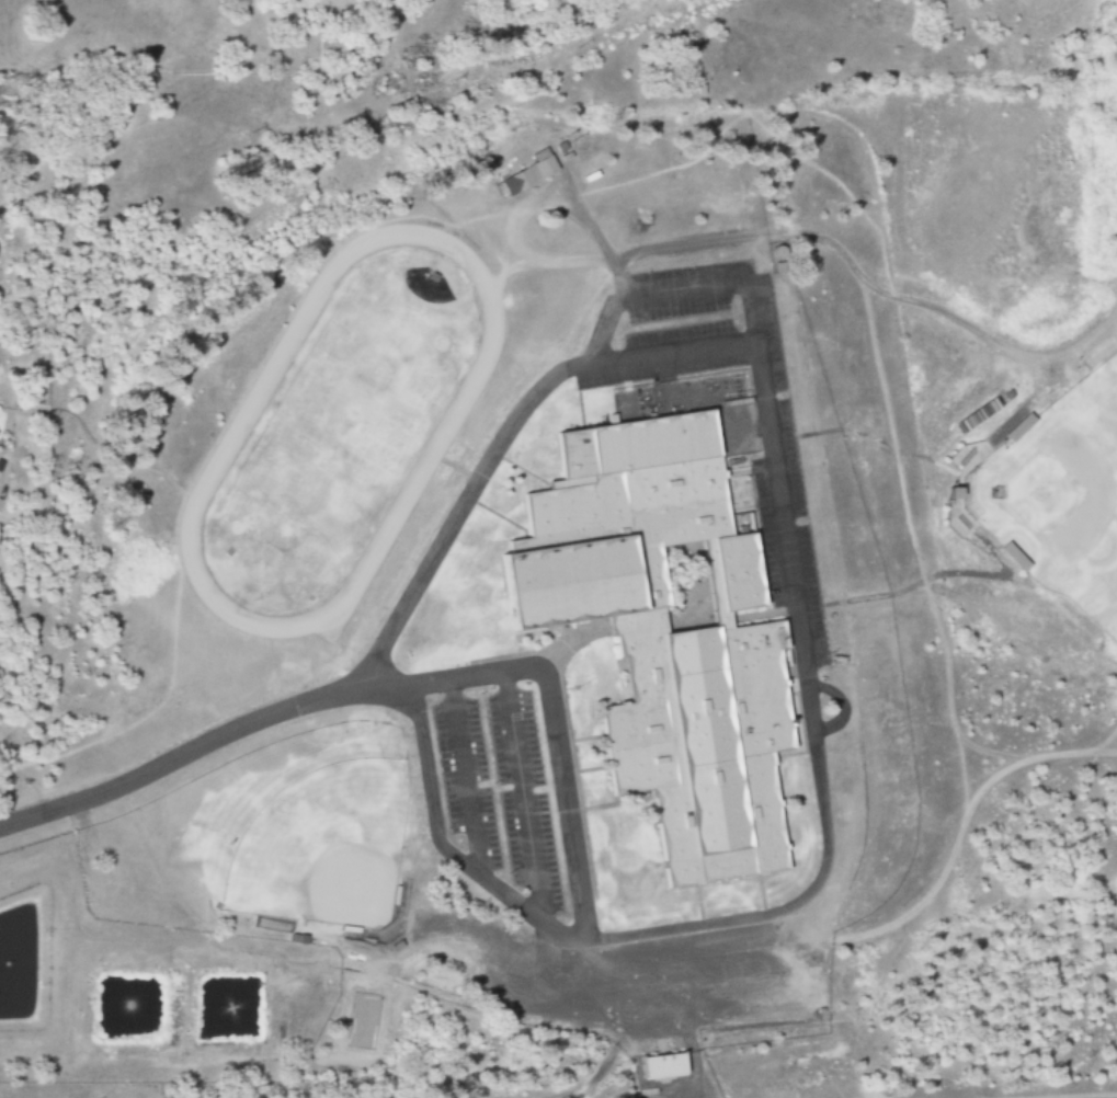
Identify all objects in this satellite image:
building: (532, 172)
building: (1016, 424)
park: (341, 432)
road: (503, 443)
park: (1061, 499)
parking lot: (784, 534)
building: (669, 634)
road: (394, 688)
road: (817, 774)
road: (465, 779)
parking lot: (498, 787)
road: (520, 798)
park: (309, 835)
building: (664, 1067)

